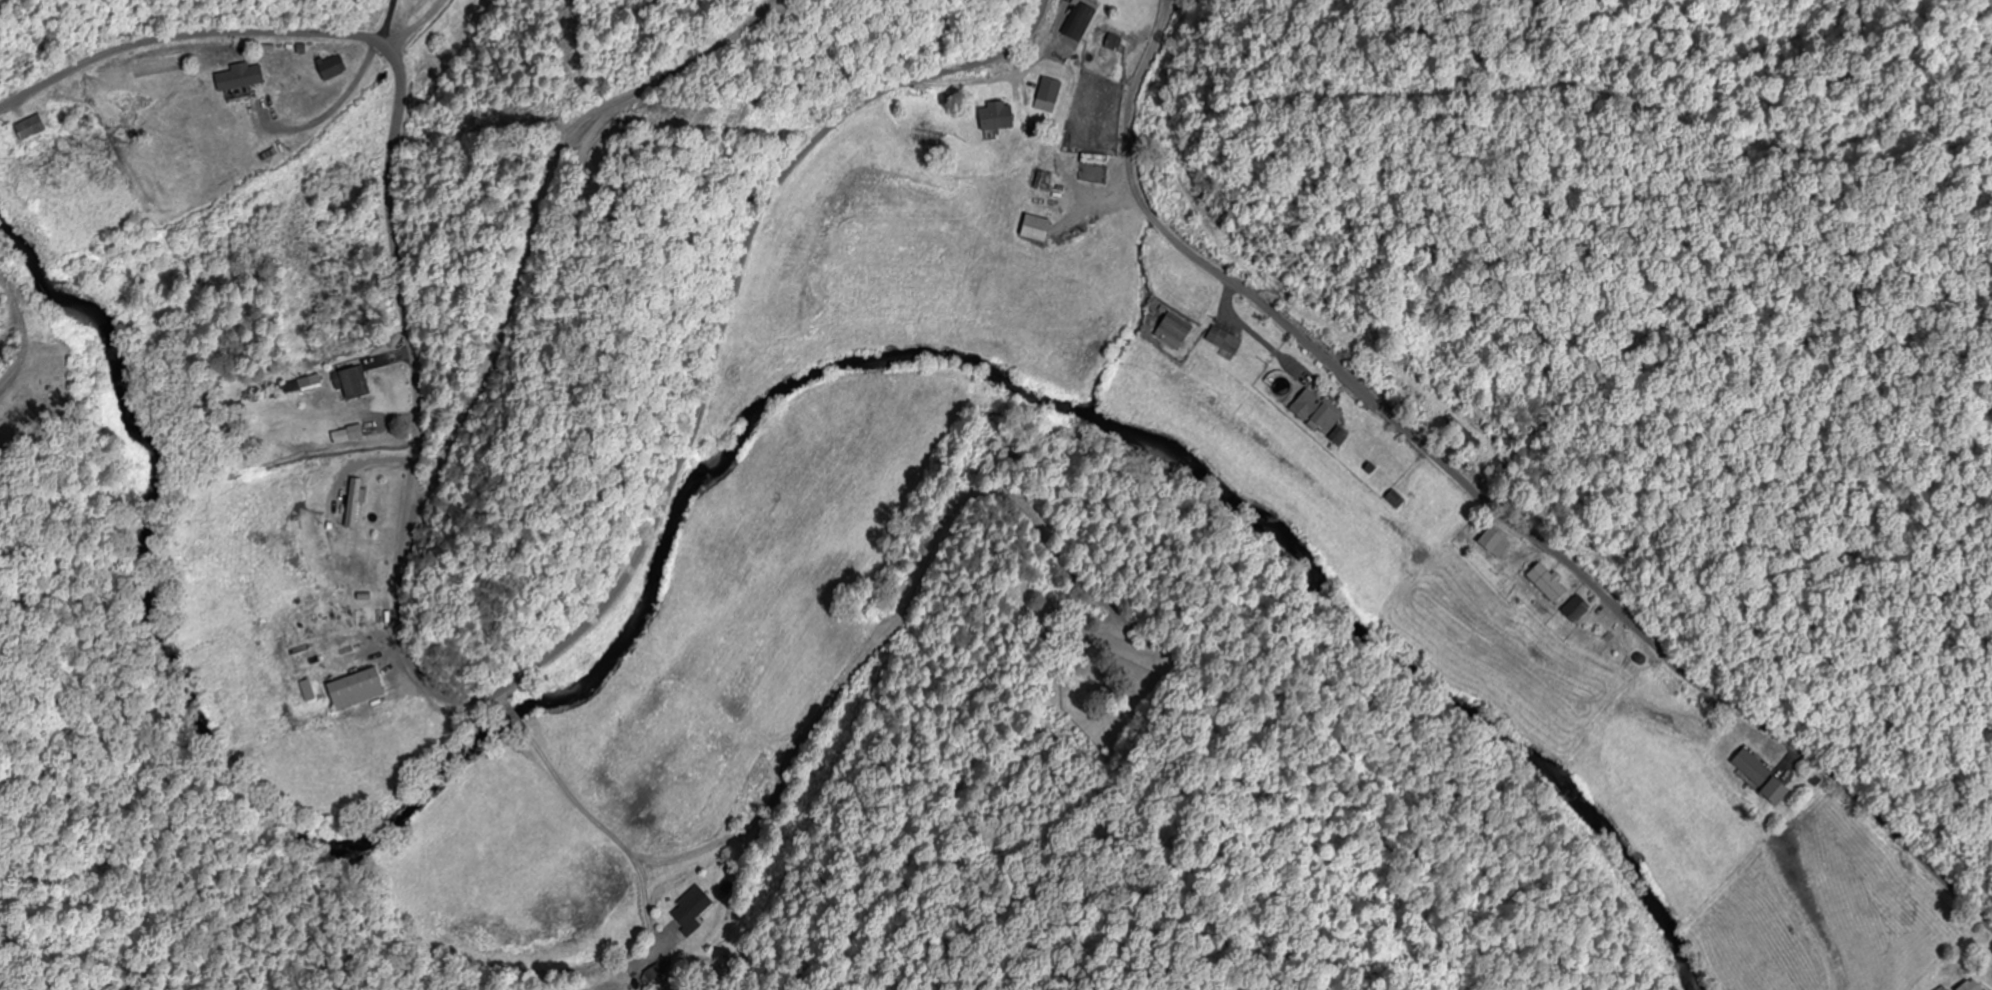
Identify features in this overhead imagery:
building: (1082, 21)
building: (1114, 43)
building: (335, 68)
building: (242, 78)
building: (1053, 91)
building: (1001, 117)
building: (35, 129)
road: (403, 147)
building: (1098, 165)
building: (1041, 230)
building: (1177, 333)
building: (1226, 341)
road: (707, 362)
building: (354, 383)
building: (291, 387)
building: (1319, 411)
building: (1462, 436)
building: (1340, 437)
building: (1003, 459)
road: (1482, 494)
building: (1392, 499)
building: (355, 503)
building: (1490, 543)
building: (1542, 583)
building: (1572, 610)
building: (360, 689)
building: (311, 691)
building: (1754, 776)
building: (692, 907)
building: (1963, 986)

